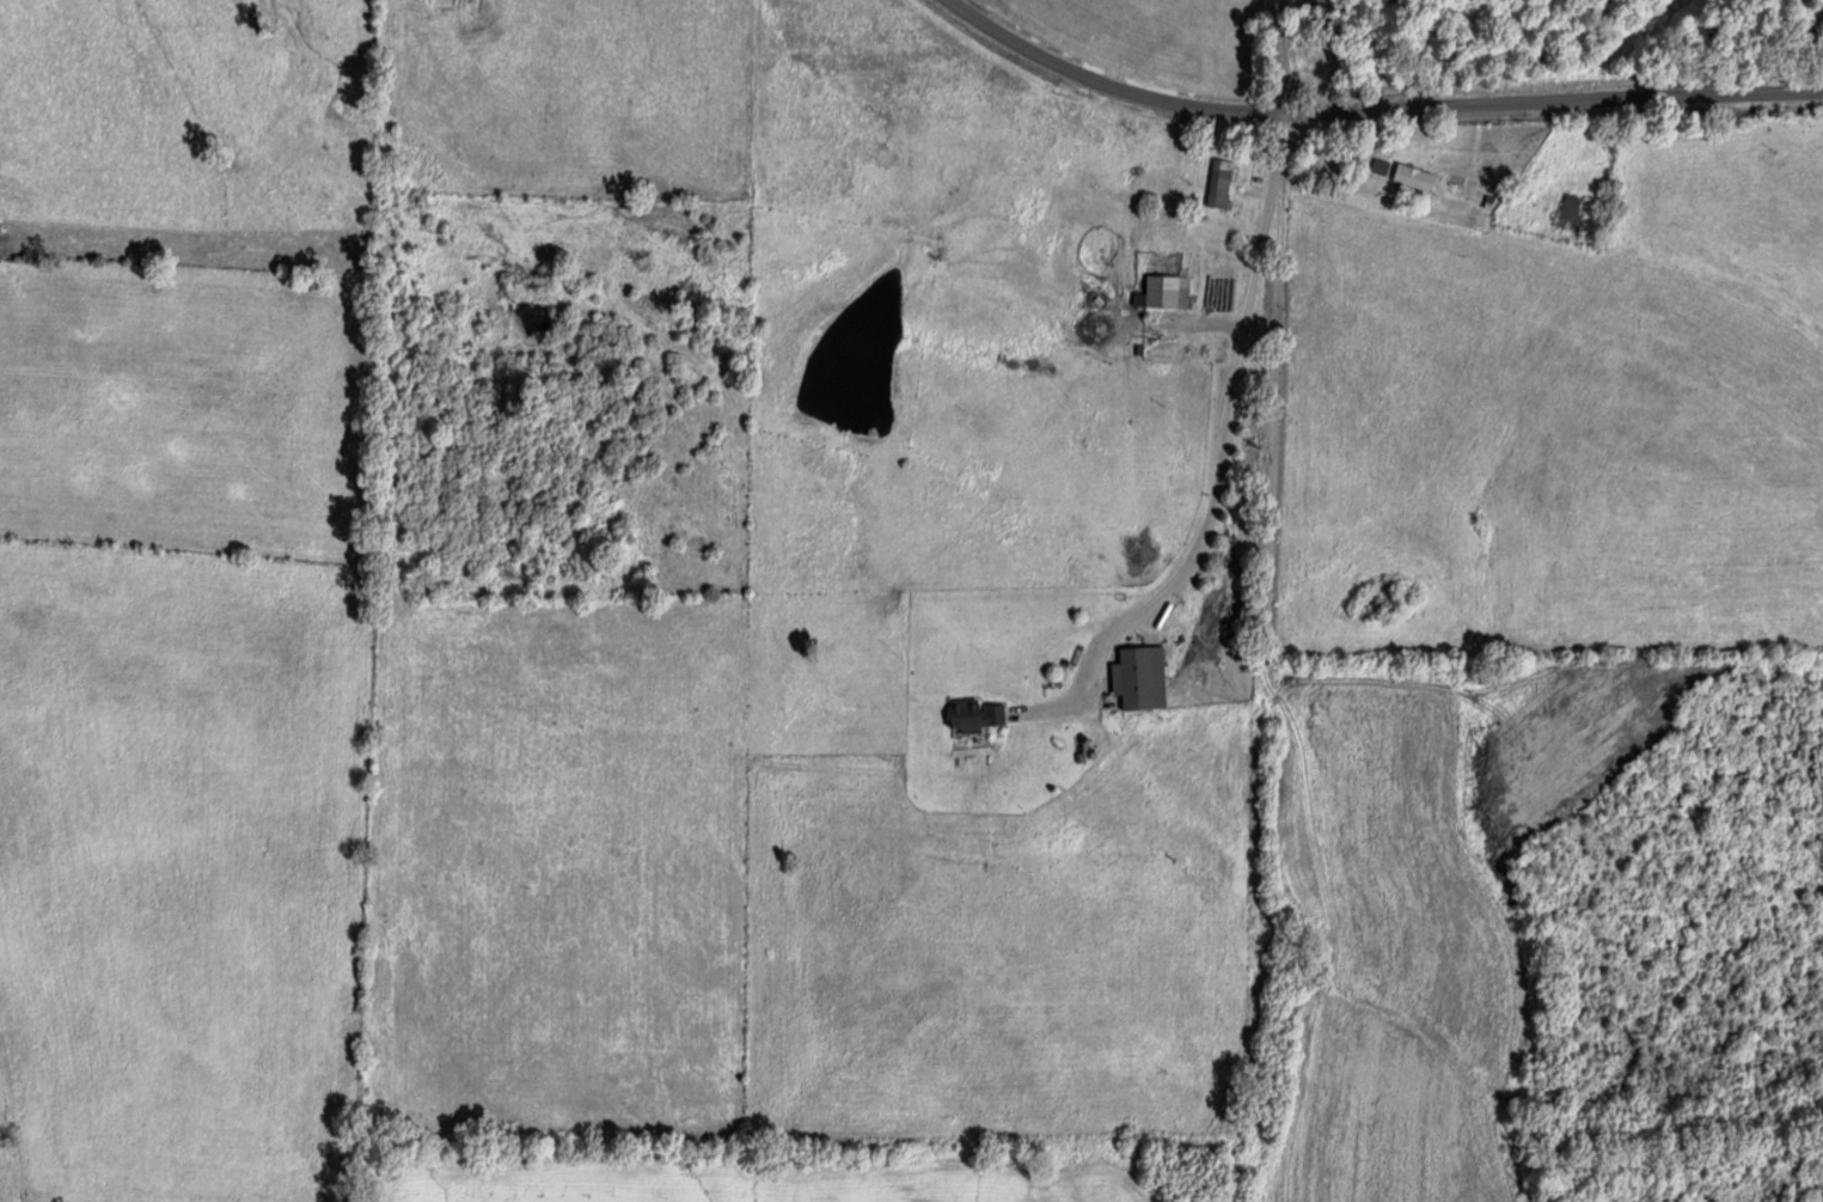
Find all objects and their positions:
road: (1387, 104)
building: (1411, 176)
building: (1218, 182)
building: (1568, 209)
building: (1166, 289)
road: (1235, 409)
building: (1134, 677)
building: (971, 712)

